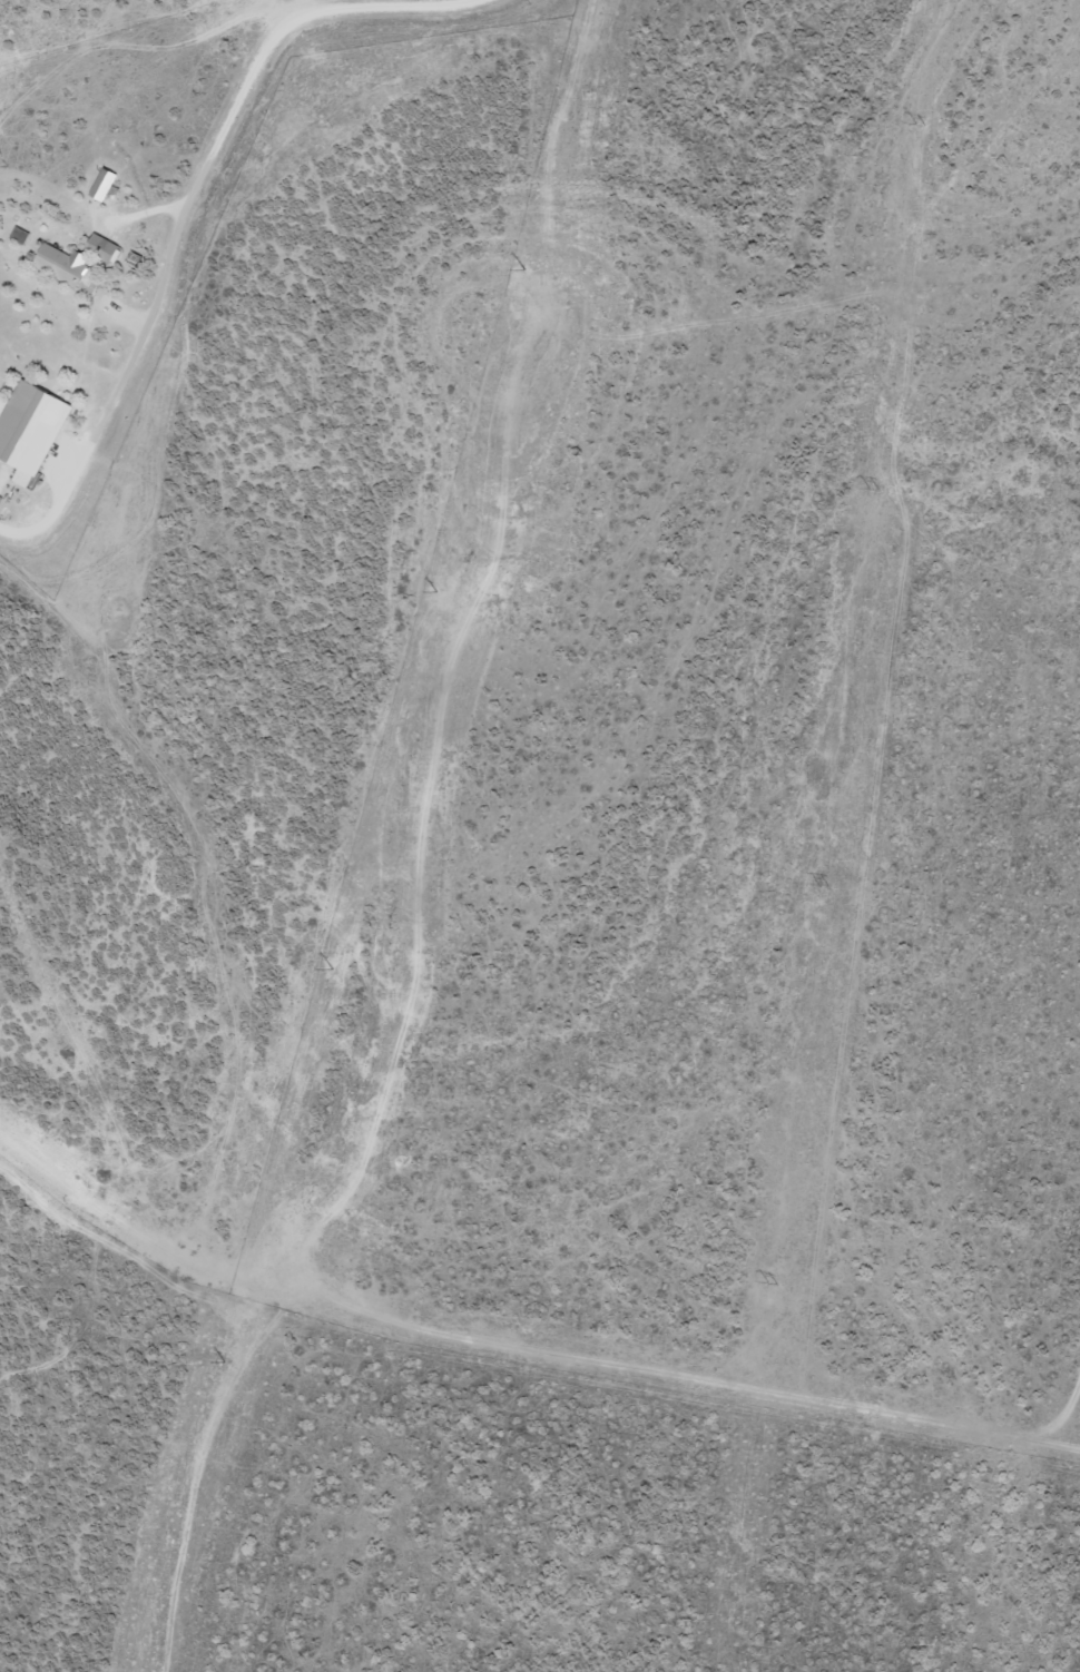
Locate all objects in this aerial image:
road: (265, 66)
power tower: (925, 124)
building: (107, 184)
building: (107, 247)
building: (68, 265)
power tower: (521, 269)
building: (35, 430)
power tower: (877, 488)
power tower: (432, 591)
power tower: (826, 885)
power tower: (321, 977)
power tower: (776, 1283)
power tower: (228, 1361)
road: (514, 1367)

